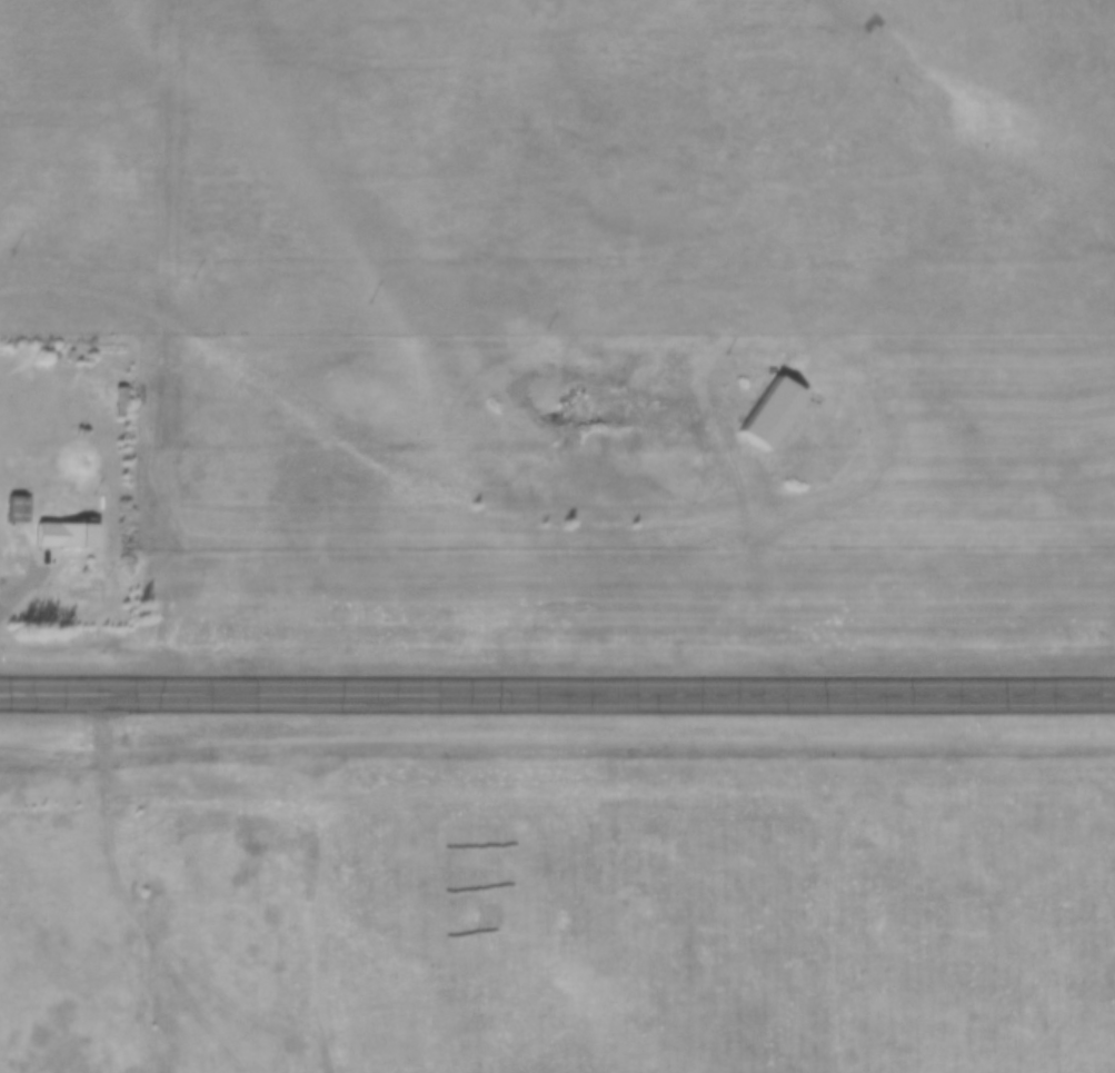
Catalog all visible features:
building: (17, 509)
building: (66, 534)
road: (17, 583)
road: (557, 685)

